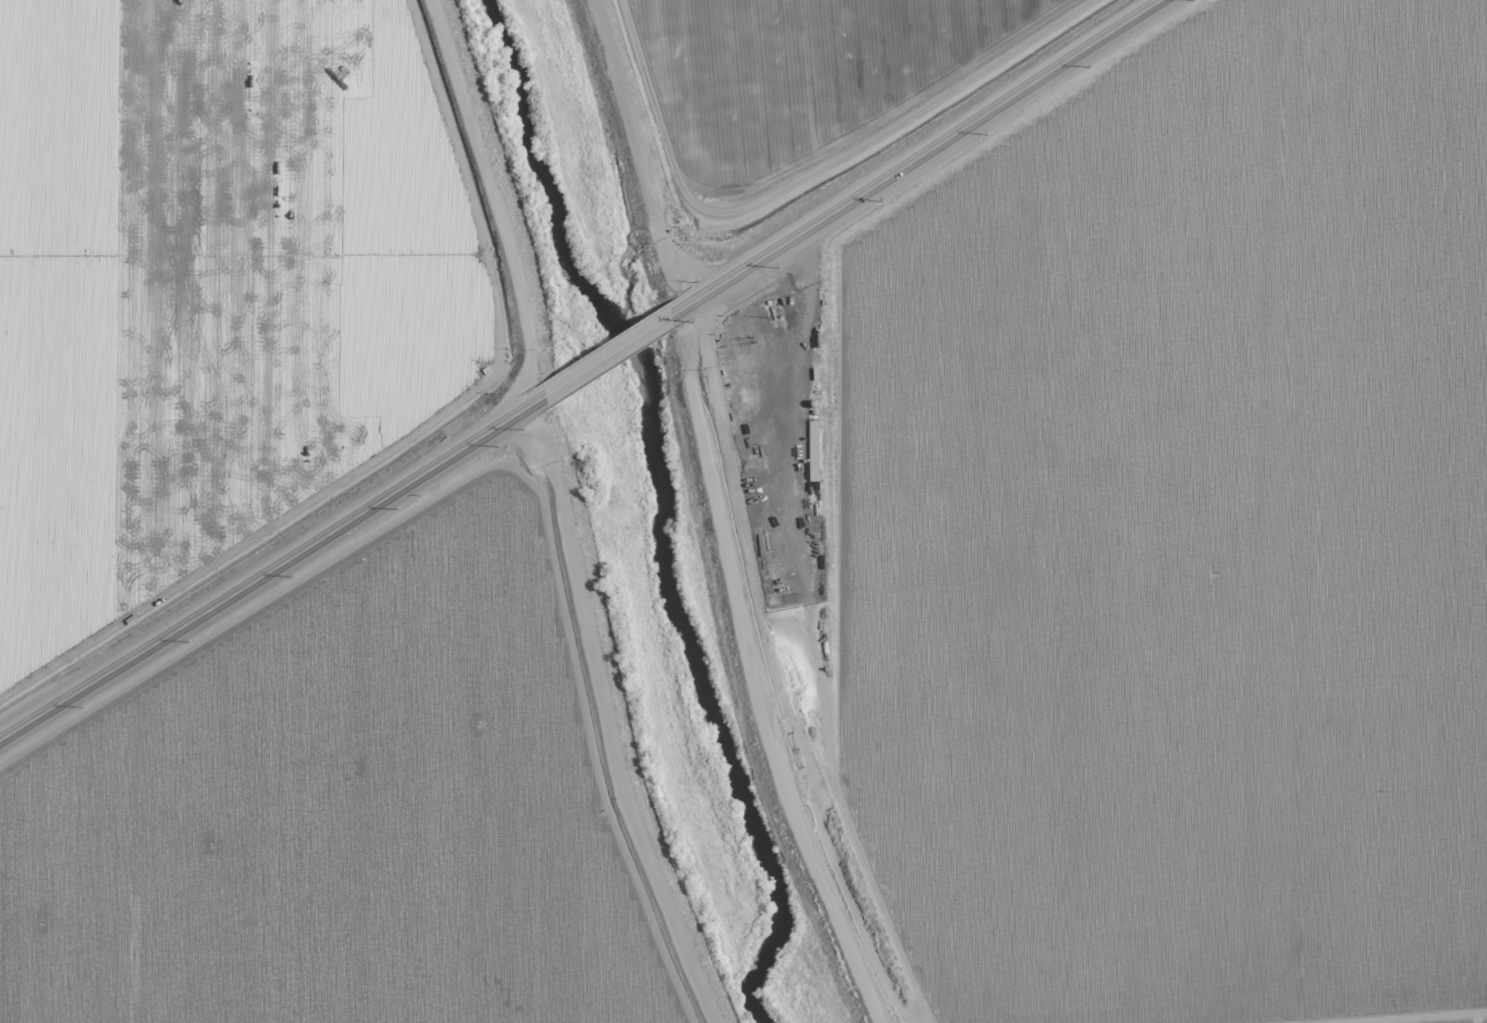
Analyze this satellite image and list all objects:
crop: (785, 96)
road: (916, 157)
road: (606, 355)
crop: (1171, 540)
crop: (277, 552)
road: (271, 567)
road: (604, 719)

